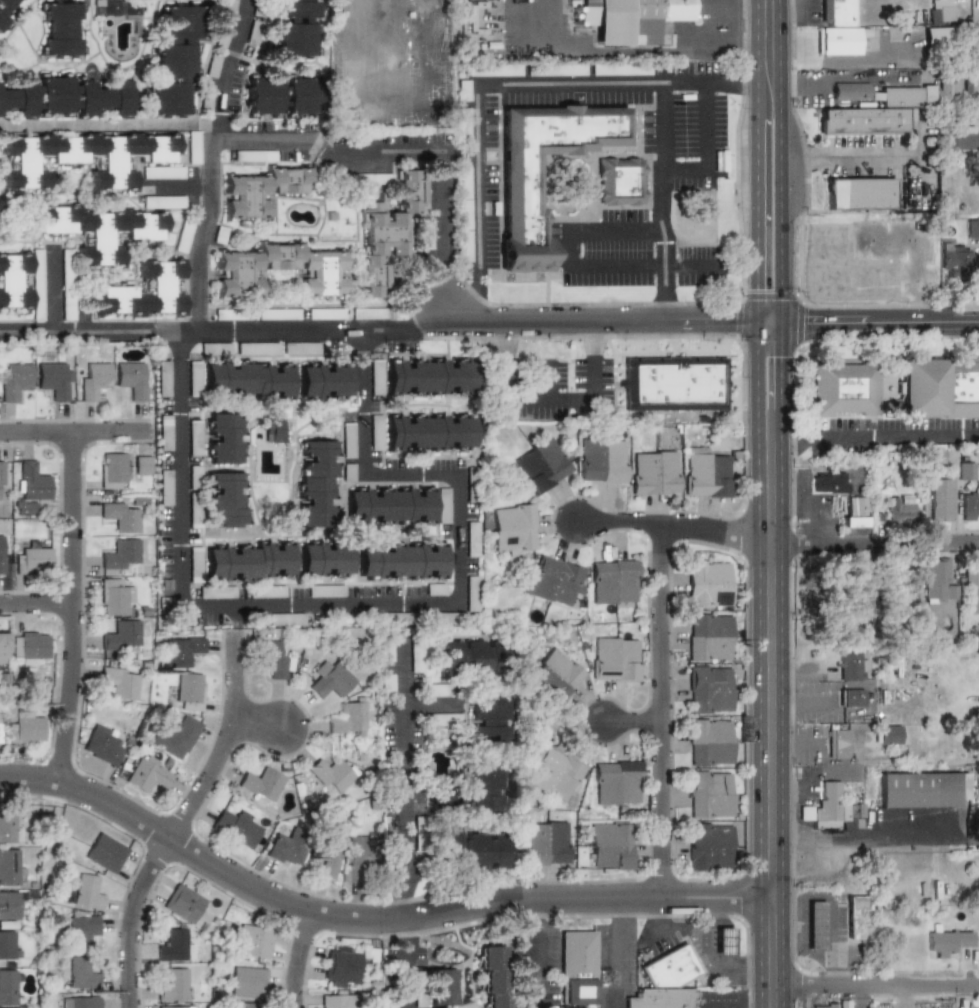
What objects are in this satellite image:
building: (229, 6)
building: (118, 7)
building: (6, 8)
building: (939, 11)
building: (633, 20)
building: (296, 28)
building: (60, 29)
building: (838, 29)
building: (221, 36)
road: (640, 51)
building: (174, 64)
building: (212, 66)
road: (226, 70)
building: (494, 70)
building: (556, 70)
building: (620, 70)
road: (851, 79)
road: (710, 81)
road: (571, 83)
building: (948, 85)
building: (463, 90)
building: (871, 94)
building: (263, 95)
building: (301, 95)
building: (67, 96)
building: (861, 121)
road: (109, 122)
road: (706, 125)
building: (964, 138)
building: (193, 147)
road: (663, 154)
building: (254, 155)
building: (80, 156)
road: (872, 157)
road: (332, 160)
road: (757, 161)
road: (780, 161)
road: (685, 169)
building: (162, 173)
road: (478, 176)
building: (365, 178)
building: (620, 181)
road: (921, 185)
building: (261, 191)
building: (859, 194)
building: (162, 202)
building: (0, 204)
building: (521, 210)
road: (616, 227)
building: (97, 229)
building: (972, 229)
building: (387, 231)
road: (201, 233)
road: (445, 233)
building: (426, 234)
building: (182, 237)
road: (570, 246)
building: (955, 257)
road: (618, 264)
road: (664, 275)
building: (13, 279)
building: (237, 283)
building: (67, 284)
building: (37, 285)
road: (51, 290)
building: (144, 291)
road: (477, 297)
building: (228, 313)
building: (278, 313)
building: (325, 313)
building: (367, 313)
road: (880, 321)
road: (769, 322)
road: (461, 323)
road: (75, 332)
road: (164, 332)
building: (260, 348)
building: (428, 376)
building: (162, 378)
building: (246, 378)
building: (53, 380)
building: (133, 380)
building: (323, 380)
building: (94, 381)
building: (15, 382)
road: (756, 382)
road: (780, 382)
building: (673, 383)
building: (939, 387)
building: (846, 388)
building: (193, 391)
road: (551, 396)
building: (273, 428)
road: (72, 431)
building: (429, 431)
building: (164, 432)
road: (873, 437)
building: (193, 438)
building: (222, 438)
building: (347, 440)
building: (374, 443)
building: (933, 456)
building: (602, 460)
building: (142, 465)
building: (541, 466)
building: (112, 471)
building: (963, 471)
building: (347, 472)
building: (654, 473)
building: (1, 475)
building: (707, 475)
building: (829, 482)
building: (315, 483)
building: (30, 486)
building: (164, 487)
road: (180, 493)
building: (225, 500)
building: (938, 500)
building: (389, 505)
building: (443, 506)
building: (968, 507)
building: (899, 509)
building: (852, 512)
building: (119, 517)
road: (814, 520)
road: (676, 523)
road: (461, 528)
building: (514, 529)
building: (472, 538)
road: (815, 544)
road: (873, 549)
building: (4, 553)
building: (119, 554)
building: (33, 558)
building: (324, 559)
building: (248, 560)
building: (402, 560)
building: (933, 579)
building: (554, 581)
building: (614, 582)
building: (708, 584)
building: (435, 589)
building: (325, 590)
building: (215, 591)
building: (265, 591)
building: (971, 591)
building: (949, 592)
building: (114, 596)
road: (35, 602)
road: (71, 607)
building: (857, 612)
road: (236, 617)
building: (284, 619)
building: (121, 635)
building: (709, 637)
building: (30, 645)
building: (183, 651)
building: (385, 652)
building: (3, 653)
building: (416, 657)
building: (472, 657)
building: (616, 658)
building: (273, 659)
building: (851, 666)
building: (556, 674)
building: (330, 680)
building: (119, 682)
building: (386, 683)
building: (710, 689)
building: (188, 691)
building: (437, 691)
building: (851, 698)
road: (430, 707)
road: (782, 707)
road: (833, 708)
road: (657, 709)
building: (350, 718)
building: (442, 719)
building: (488, 719)
road: (767, 724)
building: (25, 727)
road: (255, 728)
road: (629, 728)
building: (888, 734)
building: (175, 738)
road: (223, 740)
building: (709, 741)
building: (839, 743)
building: (102, 744)
road: (780, 747)
road: (809, 747)
road: (829, 772)
building: (149, 773)
building: (330, 773)
building: (551, 774)
road: (403, 777)
building: (616, 782)
building: (260, 783)
road: (804, 788)
building: (921, 789)
building: (481, 790)
building: (710, 794)
road: (782, 795)
road: (800, 795)
building: (829, 807)
building: (235, 825)
building: (8, 826)
building: (417, 834)
road: (873, 839)
building: (545, 843)
building: (610, 846)
building: (709, 846)
building: (286, 848)
building: (469, 849)
building: (105, 853)
building: (327, 858)
building: (362, 859)
building: (10, 867)
building: (86, 892)
building: (183, 903)
road: (529, 906)
building: (9, 907)
building: (855, 917)
road: (368, 918)
road: (131, 919)
building: (815, 925)
building: (82, 927)
road: (668, 927)
building: (253, 940)
building: (723, 941)
building: (948, 942)
building: (8, 945)
building: (172, 945)
road: (713, 958)
road: (295, 959)
road: (403, 962)
road: (530, 965)
building: (340, 967)
building: (576, 969)
building: (80, 972)
building: (495, 976)
building: (247, 981)
building: (666, 981)
road: (873, 984)
building: (174, 985)
building: (8, 987)
building: (441, 988)
road: (906, 996)
building: (338, 1001)
building: (80, 1002)
building: (822, 1005)
building: (177, 1006)
building: (245, 1007)
building: (976, 1007)

